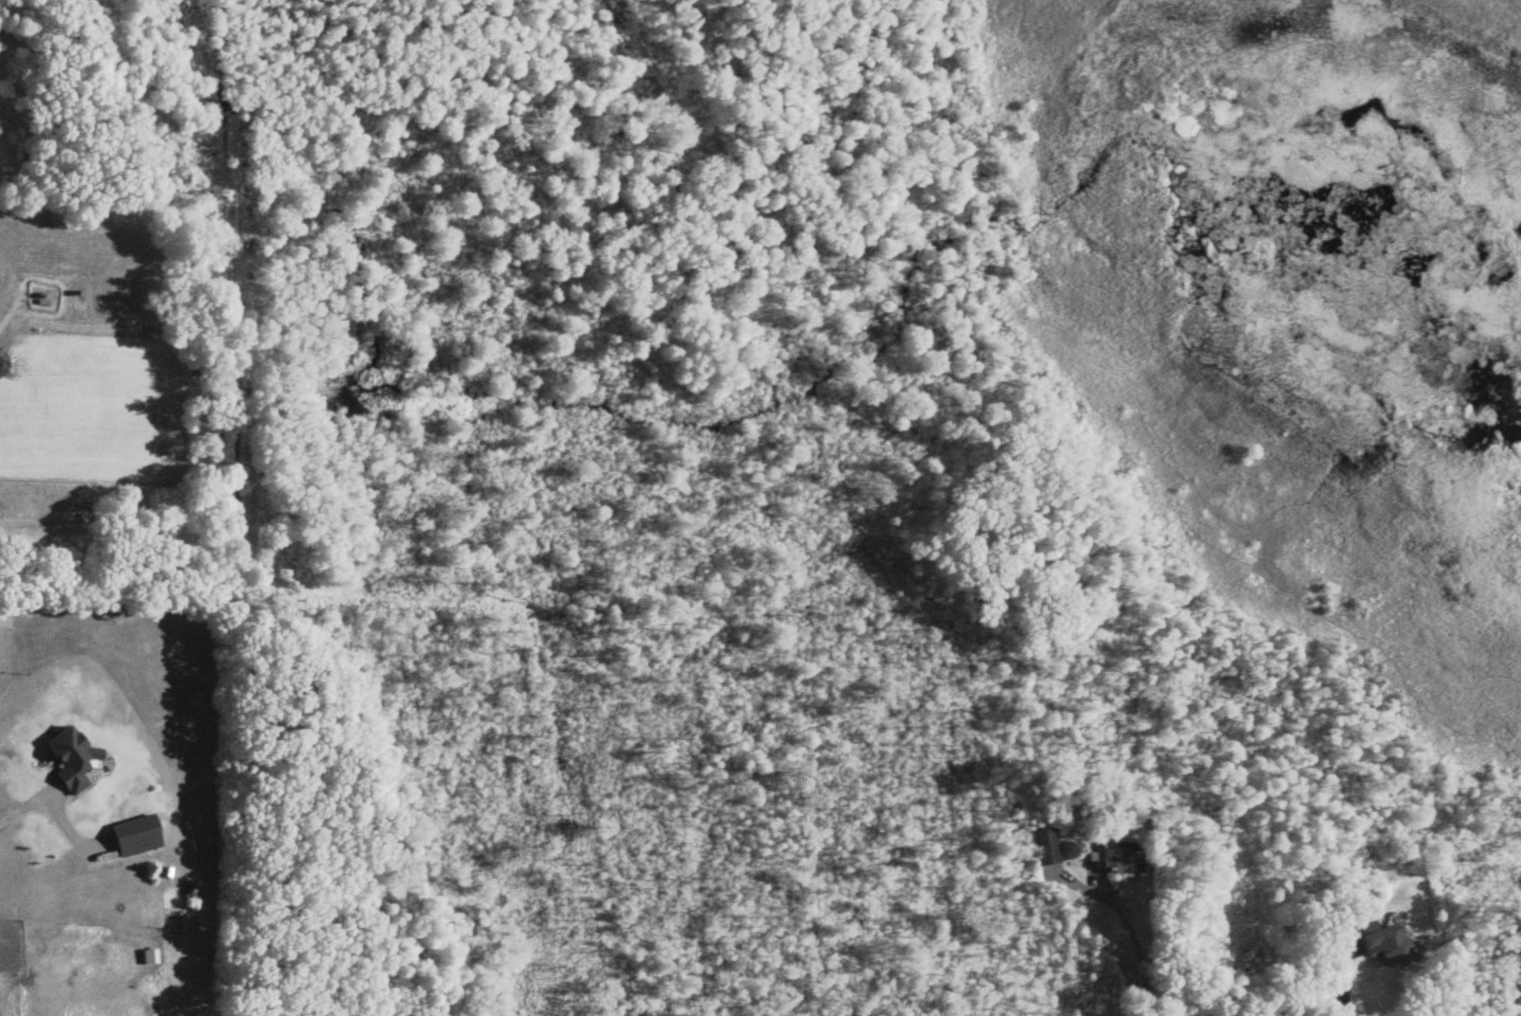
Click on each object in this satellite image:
road: (11, 320)
building: (75, 760)
road: (19, 811)
building: (139, 837)
building: (1116, 859)
road: (1128, 928)
building: (1389, 945)
building: (151, 958)
road: (1344, 985)

